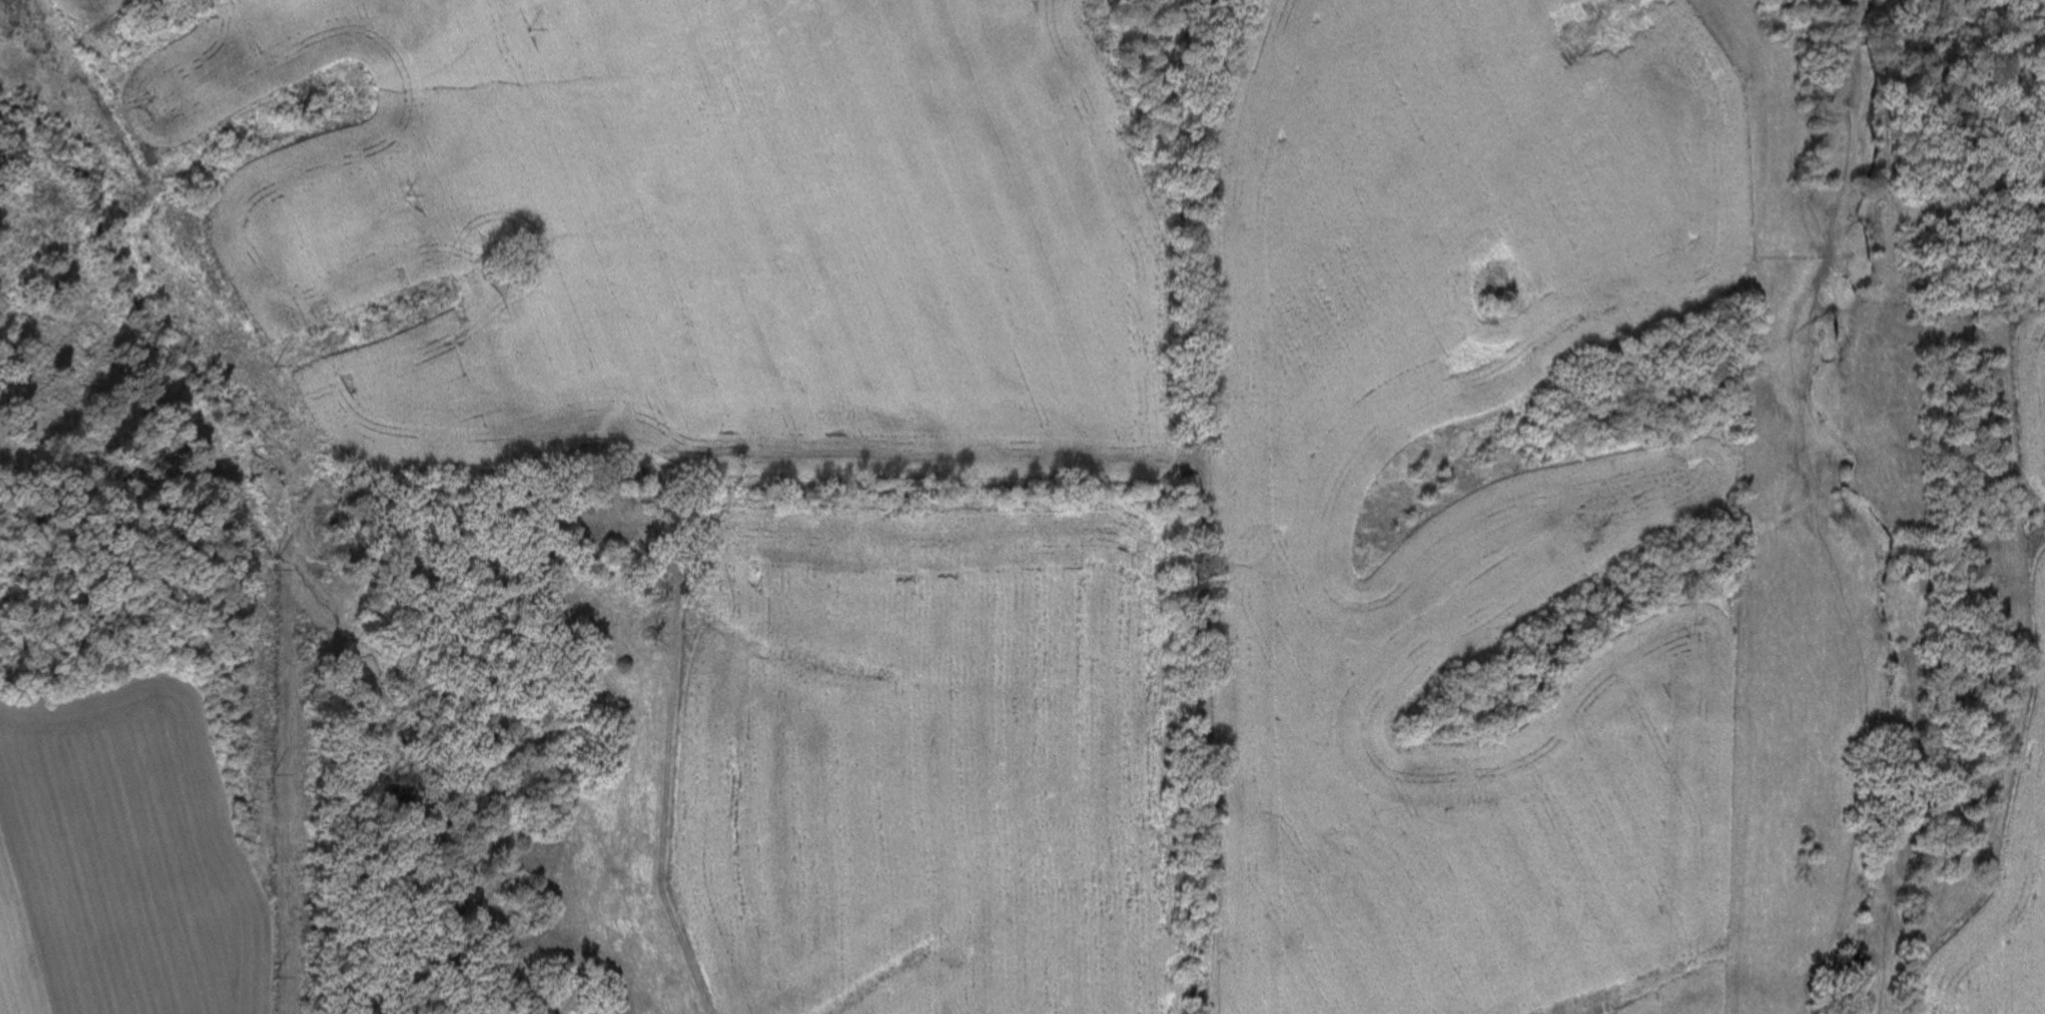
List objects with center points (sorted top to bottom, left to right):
road: (1221, 882)

